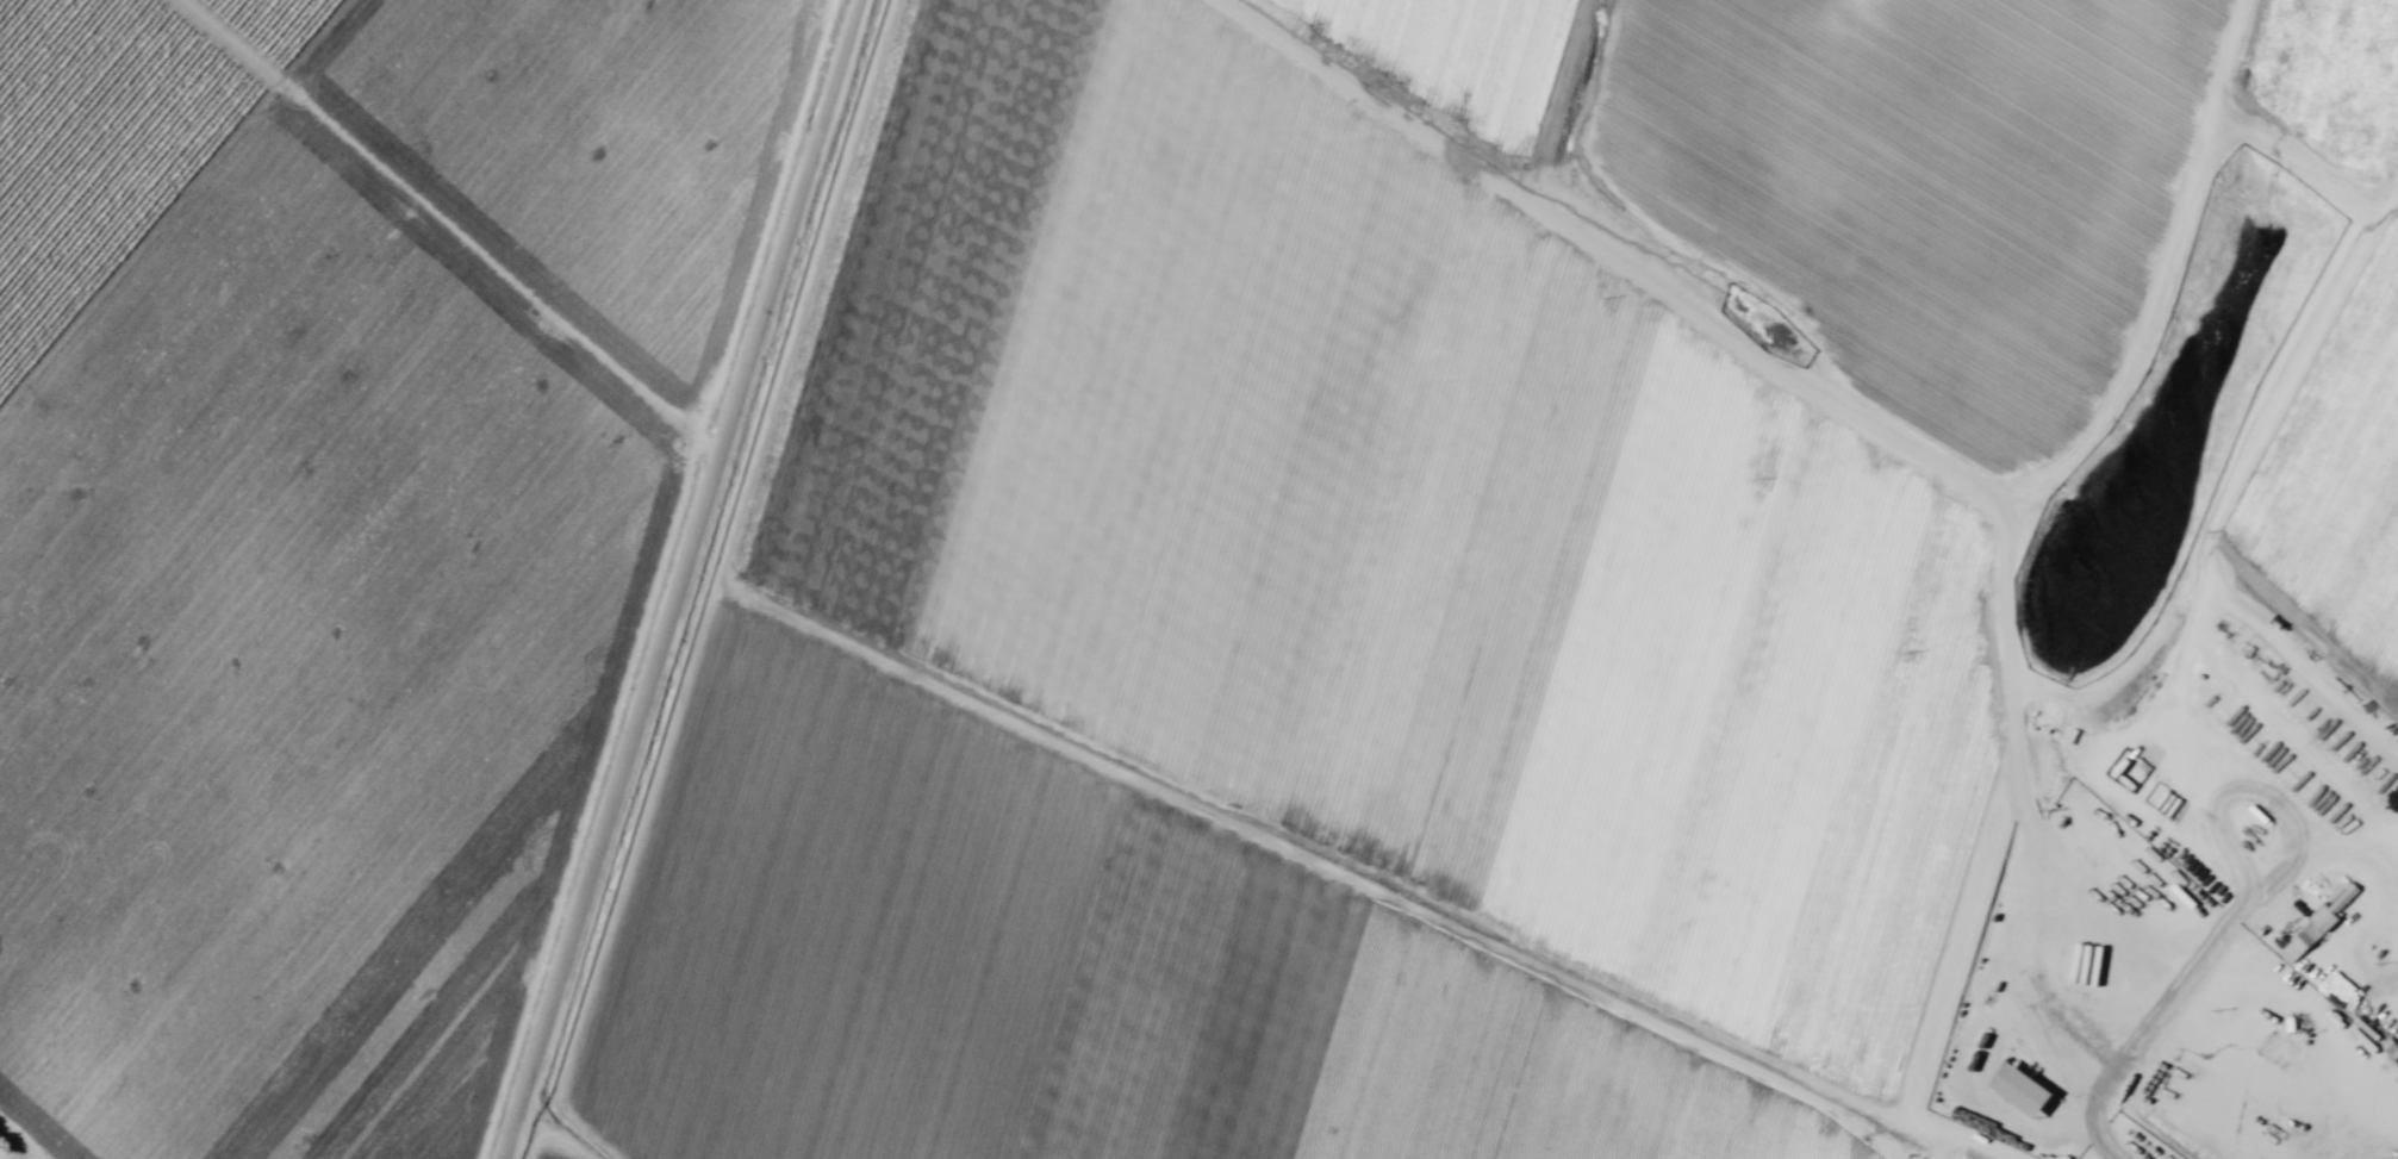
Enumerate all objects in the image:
road: (453, 226)
building: (567, 353)
road: (1875, 429)
crop: (1092, 556)
road: (646, 579)
road: (680, 579)
road: (1039, 734)
road: (2265, 833)
building: (2321, 923)
building: (831, 959)
road: (2097, 1055)
building: (2017, 1091)
building: (2372, 1097)
road: (2337, 1098)
road: (558, 1129)
road: (21, 1140)
road: (2019, 1141)

